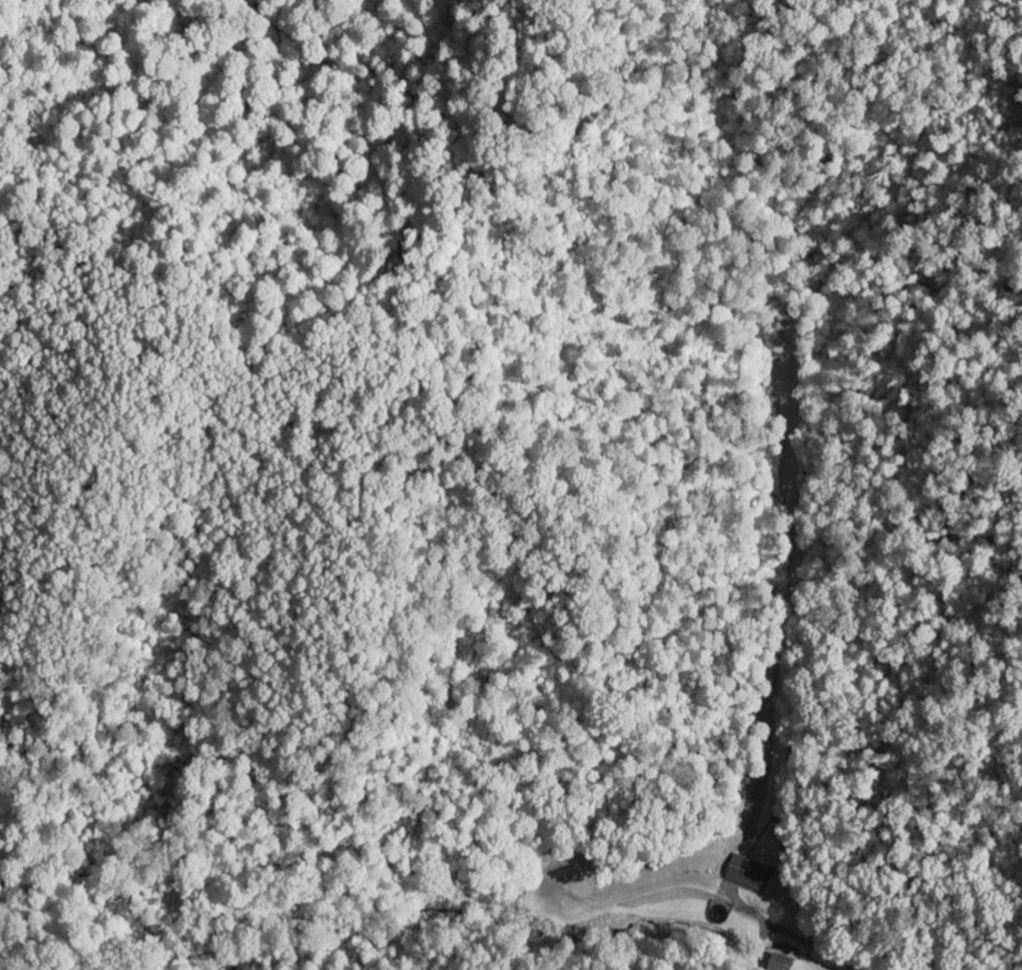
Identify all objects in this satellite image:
building: (752, 874)
road: (810, 946)

